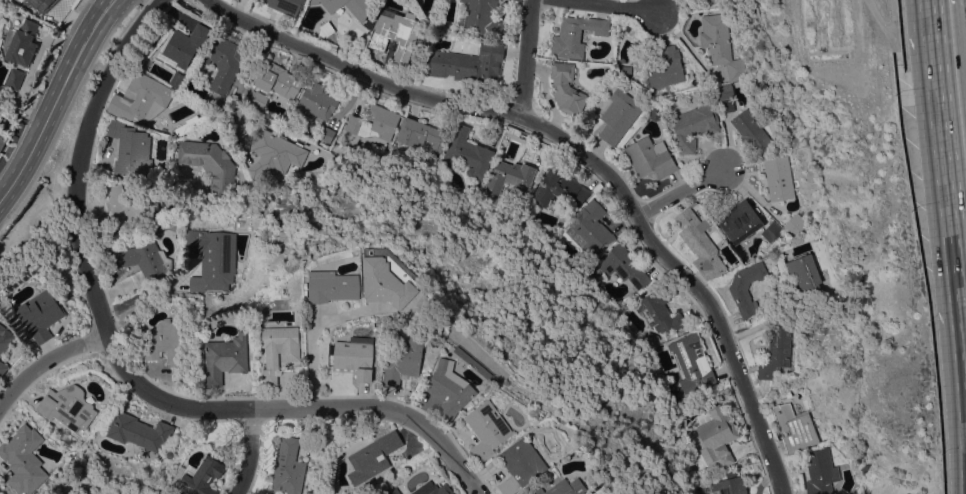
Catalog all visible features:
building: (710, 1)
building: (42, 3)
road: (610, 5)
building: (286, 6)
building: (361, 9)
building: (482, 18)
building: (397, 33)
building: (576, 35)
building: (22, 44)
building: (720, 45)
building: (184, 46)
road: (520, 57)
building: (223, 61)
building: (468, 62)
building: (667, 65)
road: (359, 73)
building: (14, 78)
building: (278, 80)
building: (566, 88)
building: (723, 92)
road: (545, 93)
building: (258, 99)
building: (141, 100)
road: (57, 101)
building: (315, 102)
building: (655, 114)
building: (619, 115)
building: (192, 123)
building: (268, 123)
building: (374, 123)
building: (694, 126)
building: (751, 131)
building: (326, 134)
building: (420, 134)
road: (950, 144)
building: (130, 149)
building: (467, 153)
building: (274, 154)
building: (650, 158)
building: (210, 165)
building: (779, 177)
building: (510, 179)
building: (559, 188)
road: (681, 190)
building: (127, 206)
building: (739, 221)
building: (102, 223)
building: (794, 224)
building: (589, 228)
building: (771, 231)
building: (700, 244)
building: (215, 258)
building: (141, 261)
building: (618, 266)
building: (804, 270)
road: (692, 271)
building: (385, 283)
building: (332, 286)
building: (746, 288)
road: (965, 294)
road: (143, 295)
building: (658, 311)
building: (40, 314)
building: (651, 337)
building: (5, 338)
building: (166, 346)
building: (332, 346)
building: (279, 350)
building: (776, 351)
building: (355, 356)
building: (226, 357)
road: (311, 357)
building: (402, 360)
road: (45, 363)
building: (692, 363)
road: (126, 366)
building: (2, 368)
building: (449, 389)
building: (67, 406)
building: (794, 427)
building: (58, 428)
building: (487, 430)
building: (139, 432)
building: (715, 439)
road: (251, 452)
building: (373, 457)
building: (24, 461)
building: (521, 464)
building: (288, 467)
building: (820, 471)
building: (199, 474)
building: (729, 485)
building: (564, 487)
building: (433, 489)
building: (394, 491)

